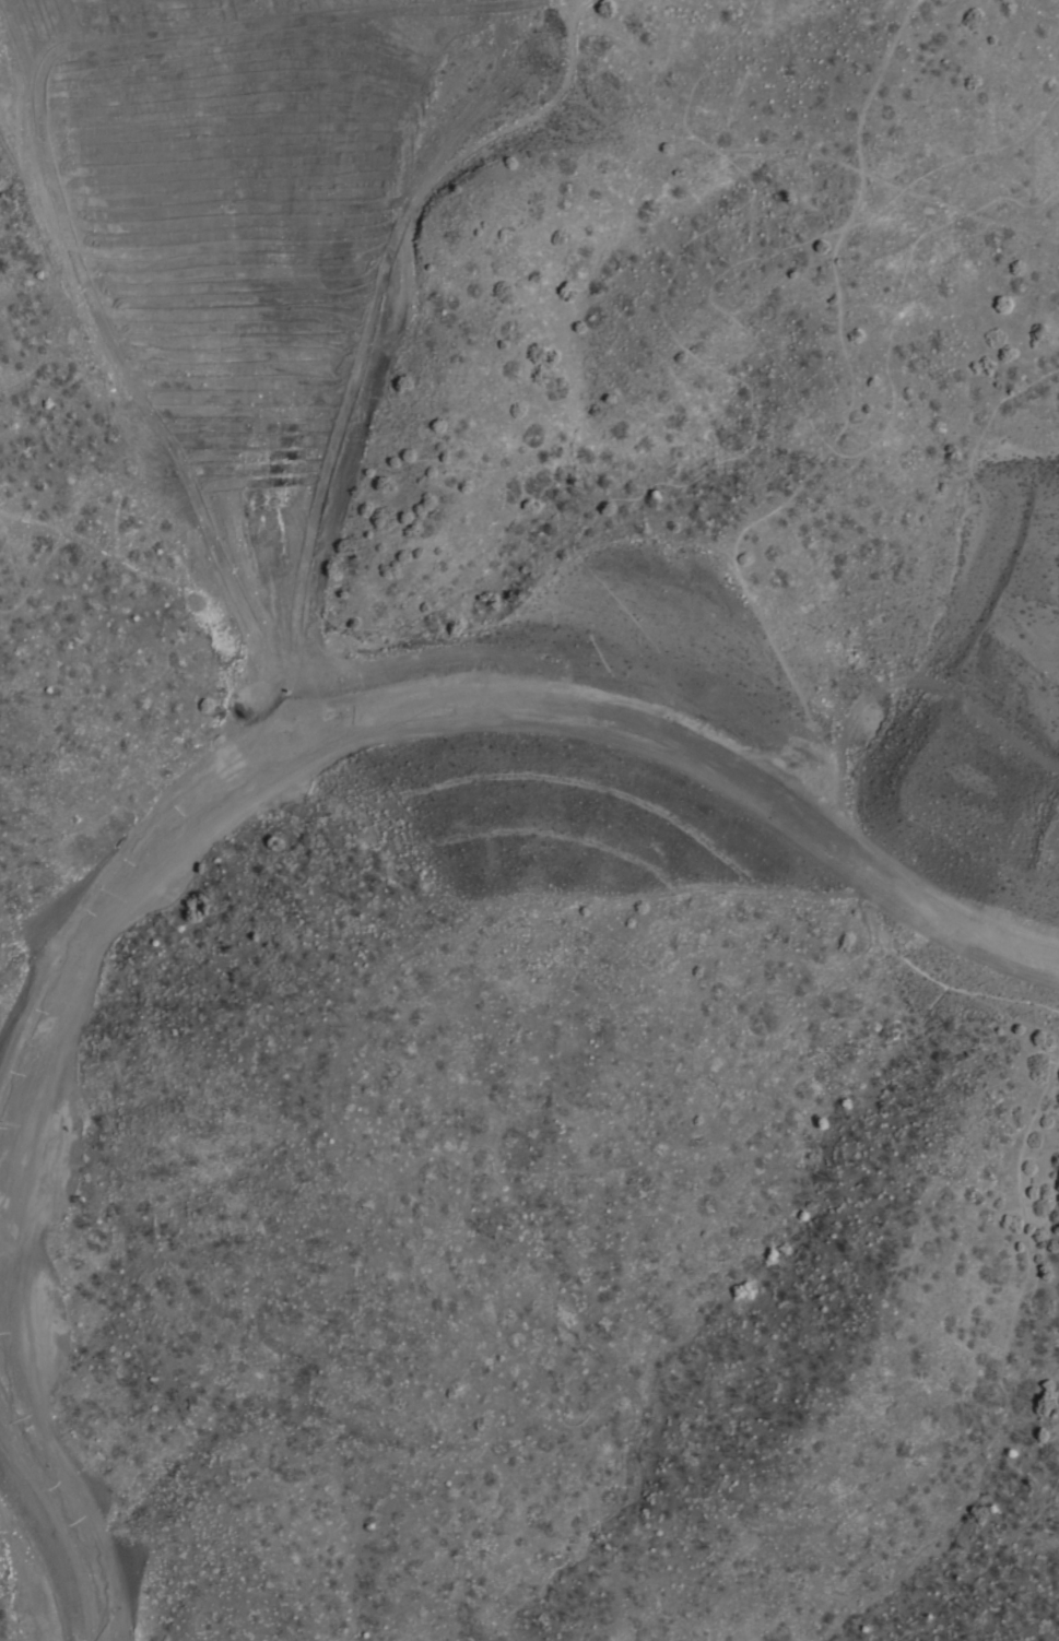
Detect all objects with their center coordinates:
road: (567, 11)
road: (398, 333)
road: (584, 538)

